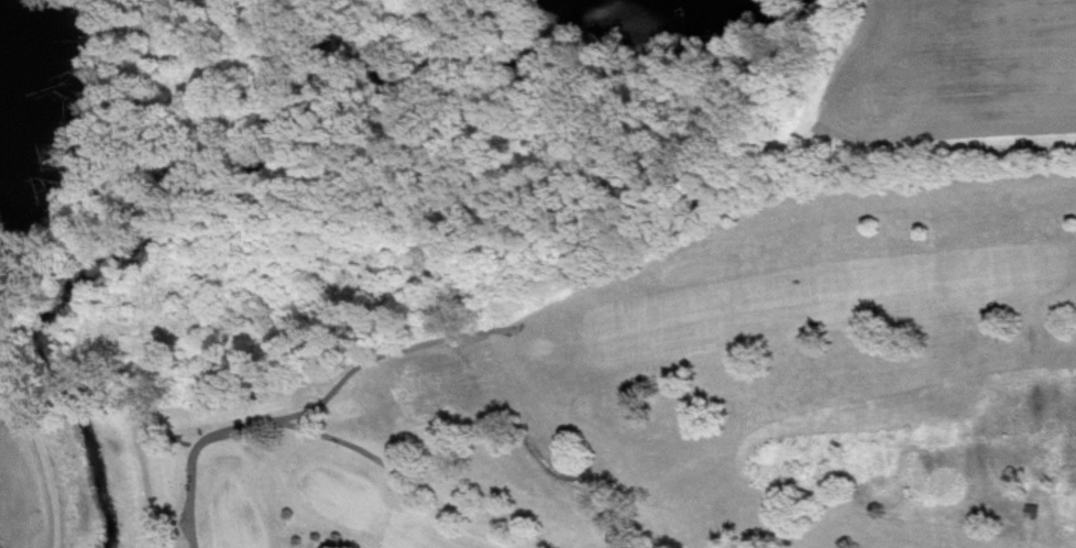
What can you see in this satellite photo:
park: (655, 401)
park: (345, 505)
park: (239, 523)

